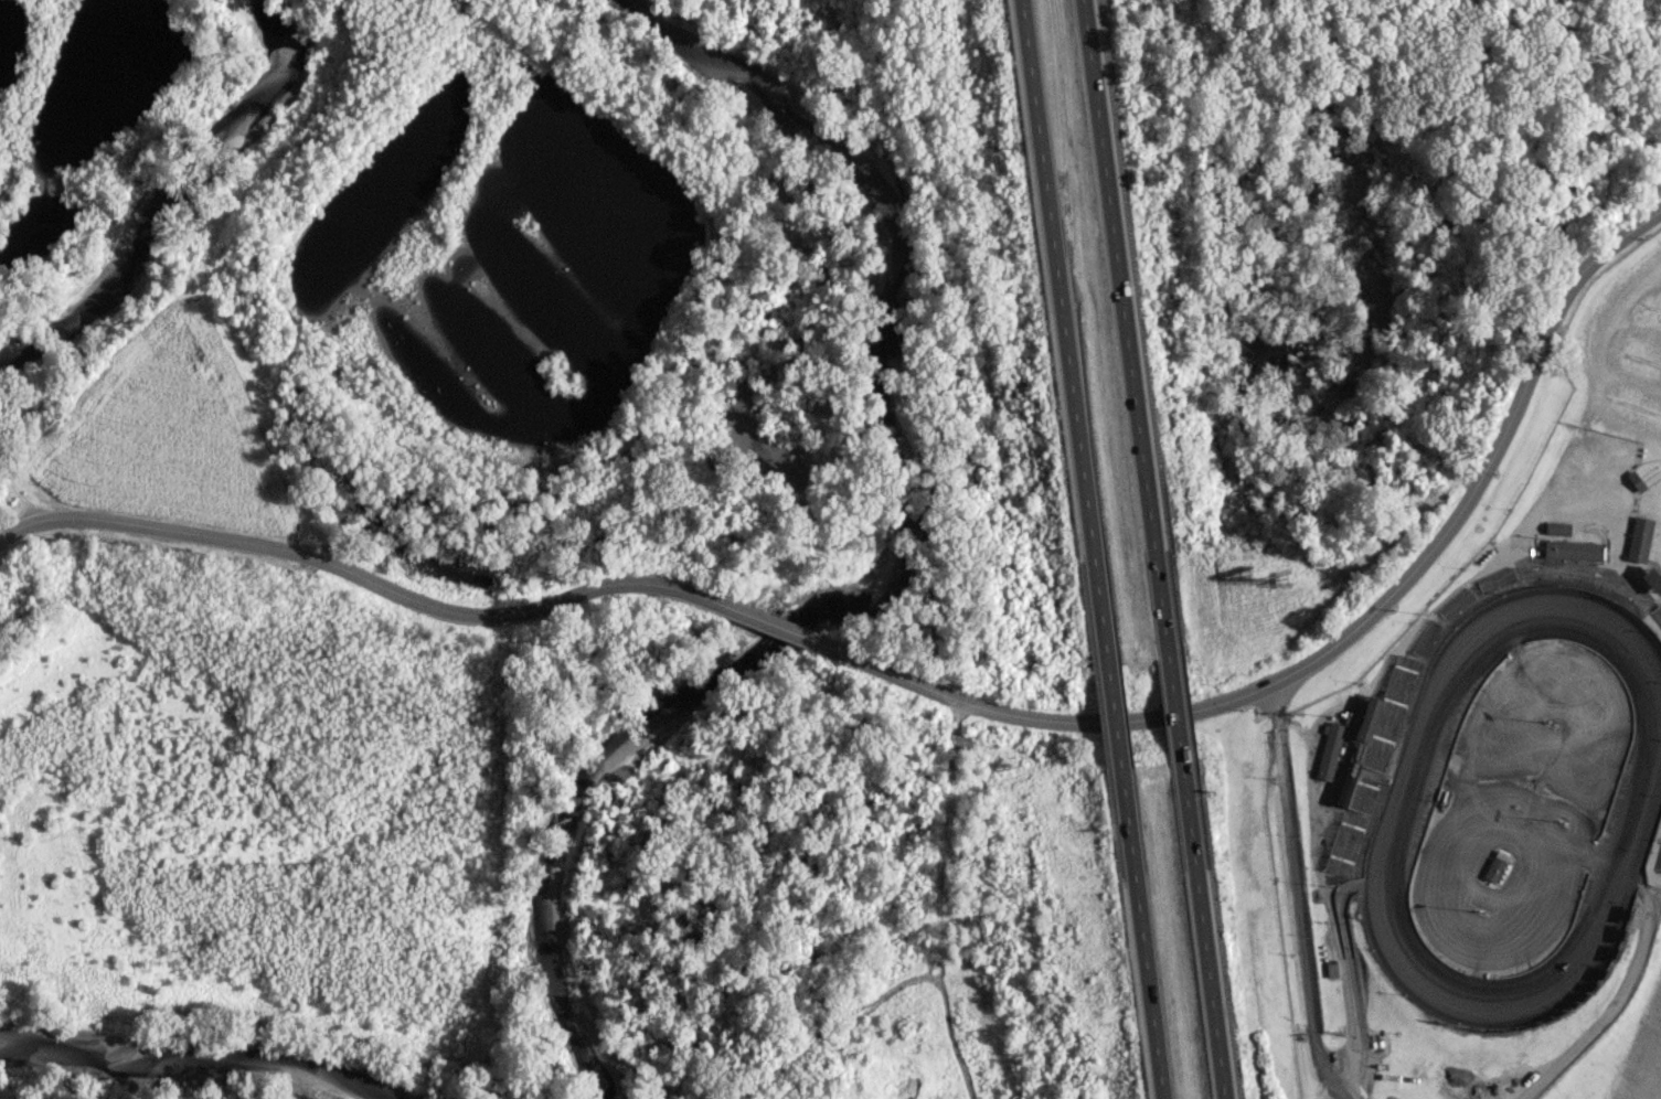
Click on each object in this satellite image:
river: (167, 188)
road: (1122, 328)
road: (1062, 331)
road: (18, 495)
building: (1554, 527)
building: (1637, 538)
building: (1569, 549)
road: (370, 577)
river: (887, 583)
road: (774, 628)
road: (1333, 643)
road: (1172, 707)
road: (1112, 716)
building: (1375, 730)
building: (1328, 750)
road: (1296, 894)
road: (1200, 929)
road: (1140, 933)
river: (188, 1059)

